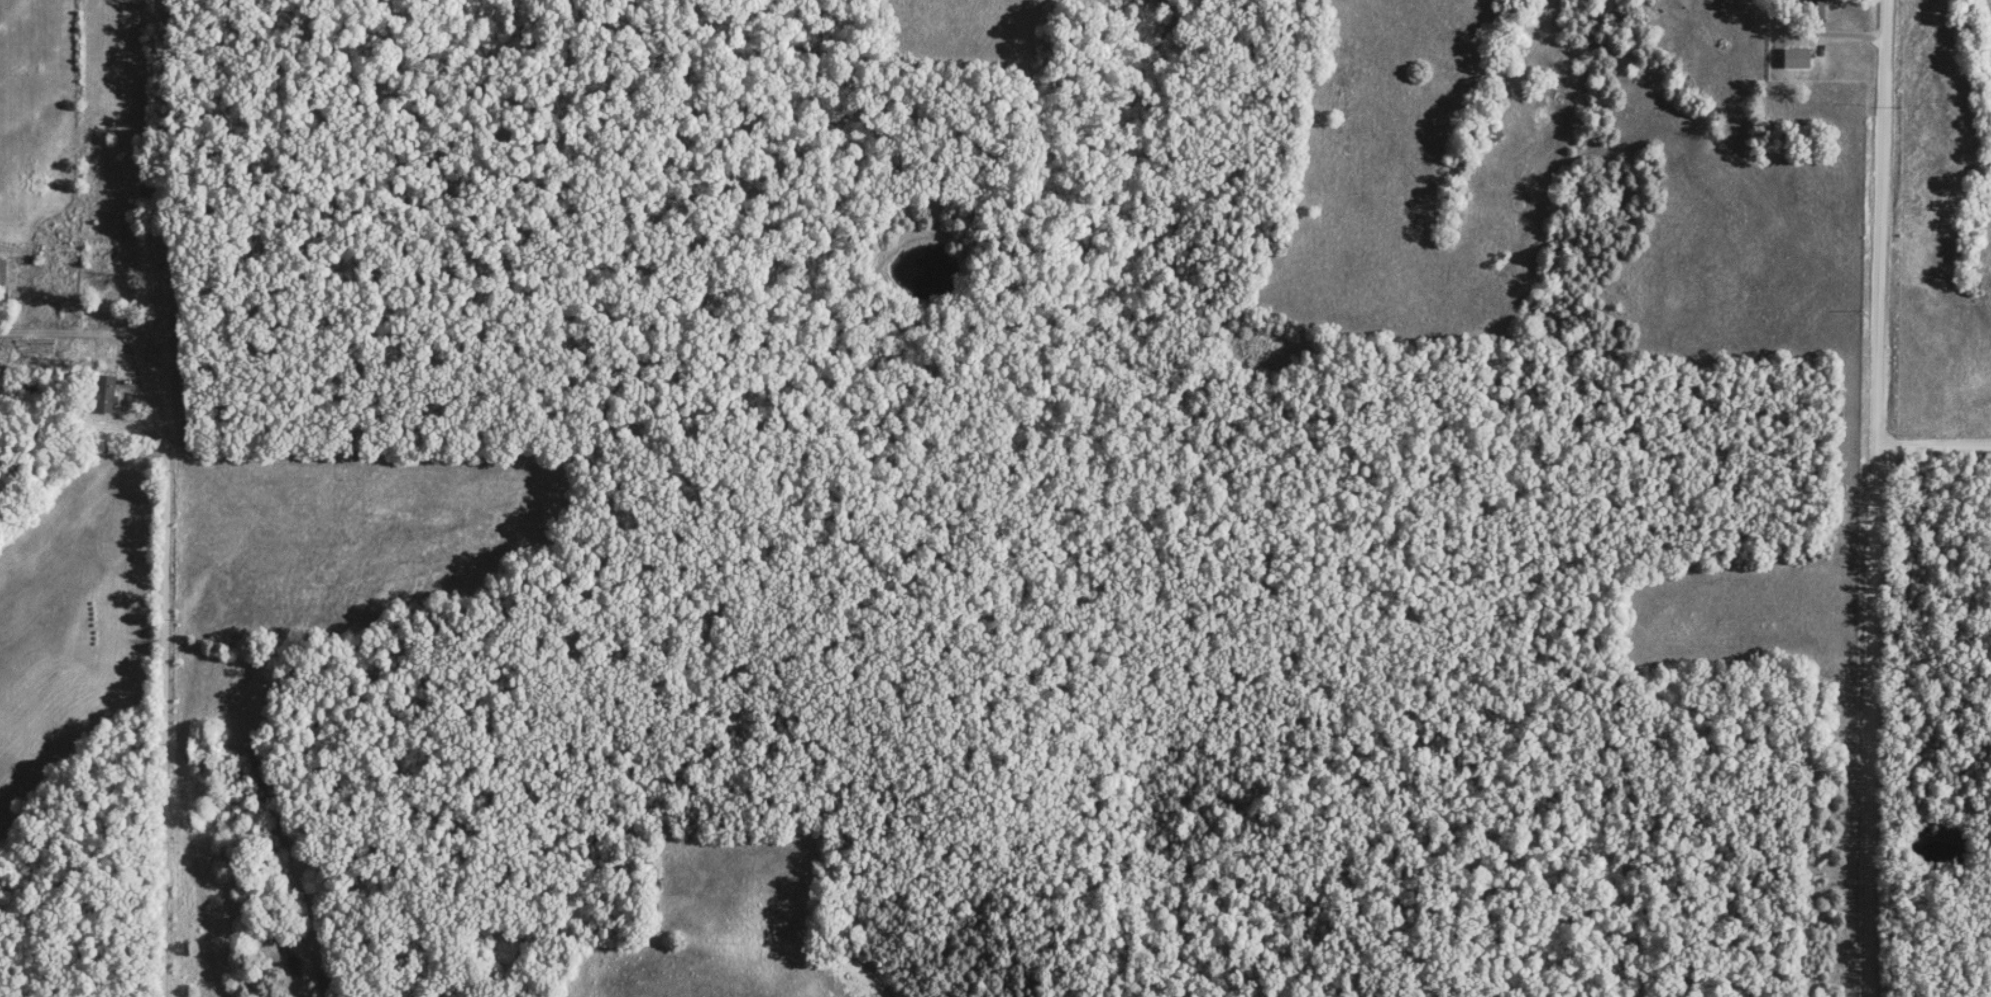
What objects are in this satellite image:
building: (1816, 6)
road: (1811, 31)
building: (1796, 57)
building: (60, 235)
building: (2, 268)
building: (100, 274)
building: (105, 393)
road: (1935, 446)
road: (1875, 498)
road: (165, 610)

